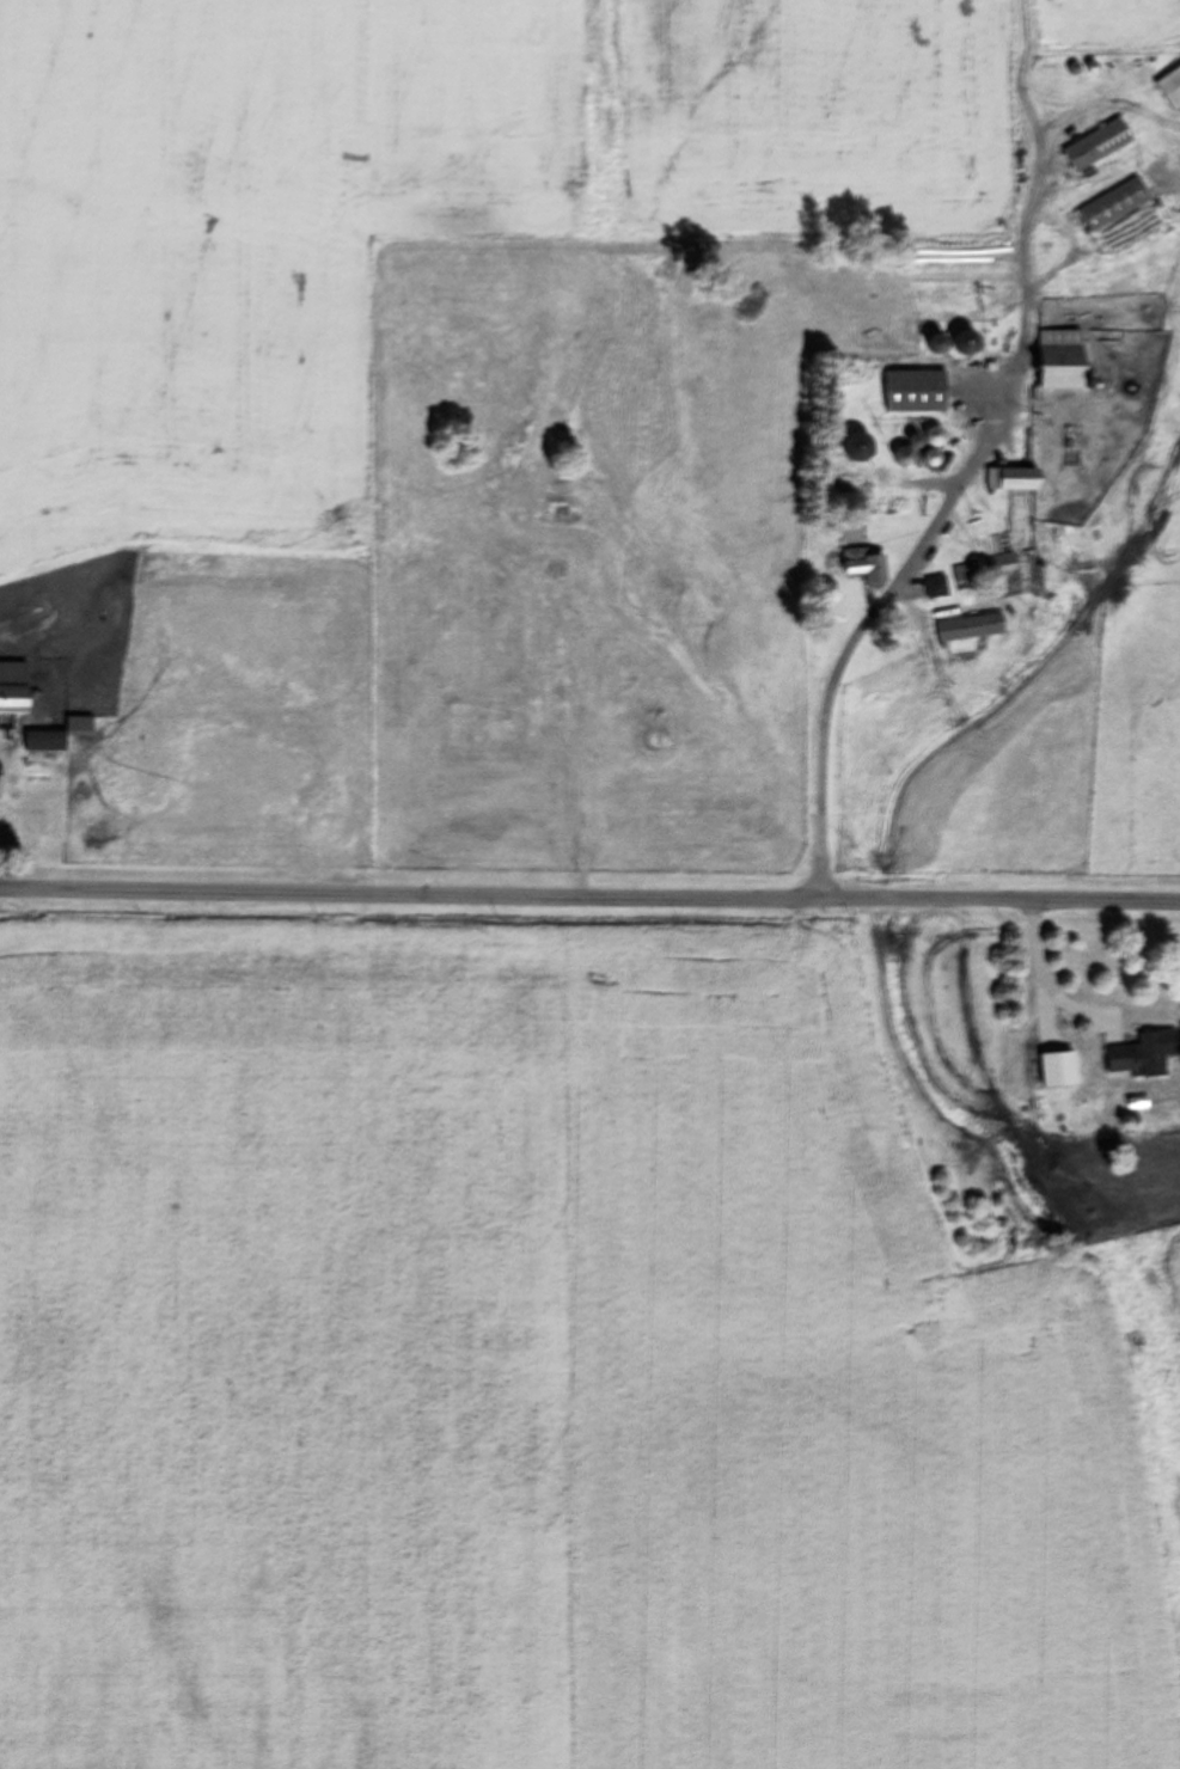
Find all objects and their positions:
building: (1169, 88)
building: (1095, 146)
building: (1113, 204)
building: (1058, 357)
building: (913, 390)
building: (1016, 477)
road: (925, 534)
building: (863, 563)
building: (998, 563)
building: (965, 571)
building: (934, 587)
building: (967, 626)
building: (12, 686)
building: (78, 726)
building: (42, 740)
road: (589, 893)
road: (1037, 981)
building: (1144, 1053)
building: (1057, 1069)

